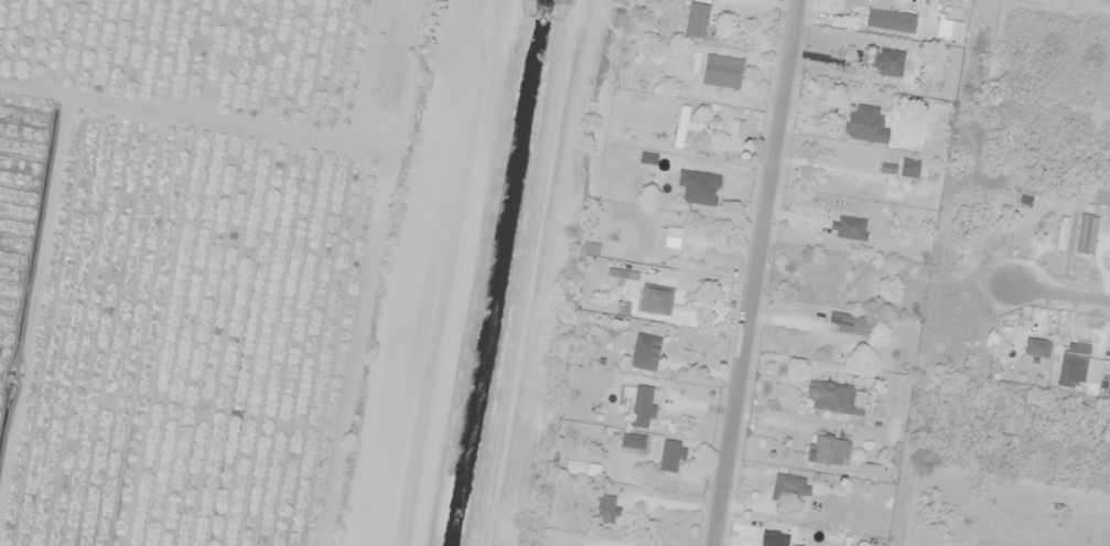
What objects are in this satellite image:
building: (891, 21)
building: (707, 24)
building: (395, 28)
building: (886, 62)
building: (719, 66)
building: (397, 89)
building: (865, 126)
road: (268, 128)
building: (699, 186)
building: (849, 228)
building: (660, 236)
road: (752, 272)
road: (1058, 292)
building: (656, 301)
building: (851, 325)
building: (646, 347)
building: (1014, 351)
building: (1073, 362)
building: (834, 398)
building: (637, 405)
building: (830, 451)
building: (669, 457)
building: (787, 486)
building: (606, 510)
building: (816, 538)
building: (608, 545)

